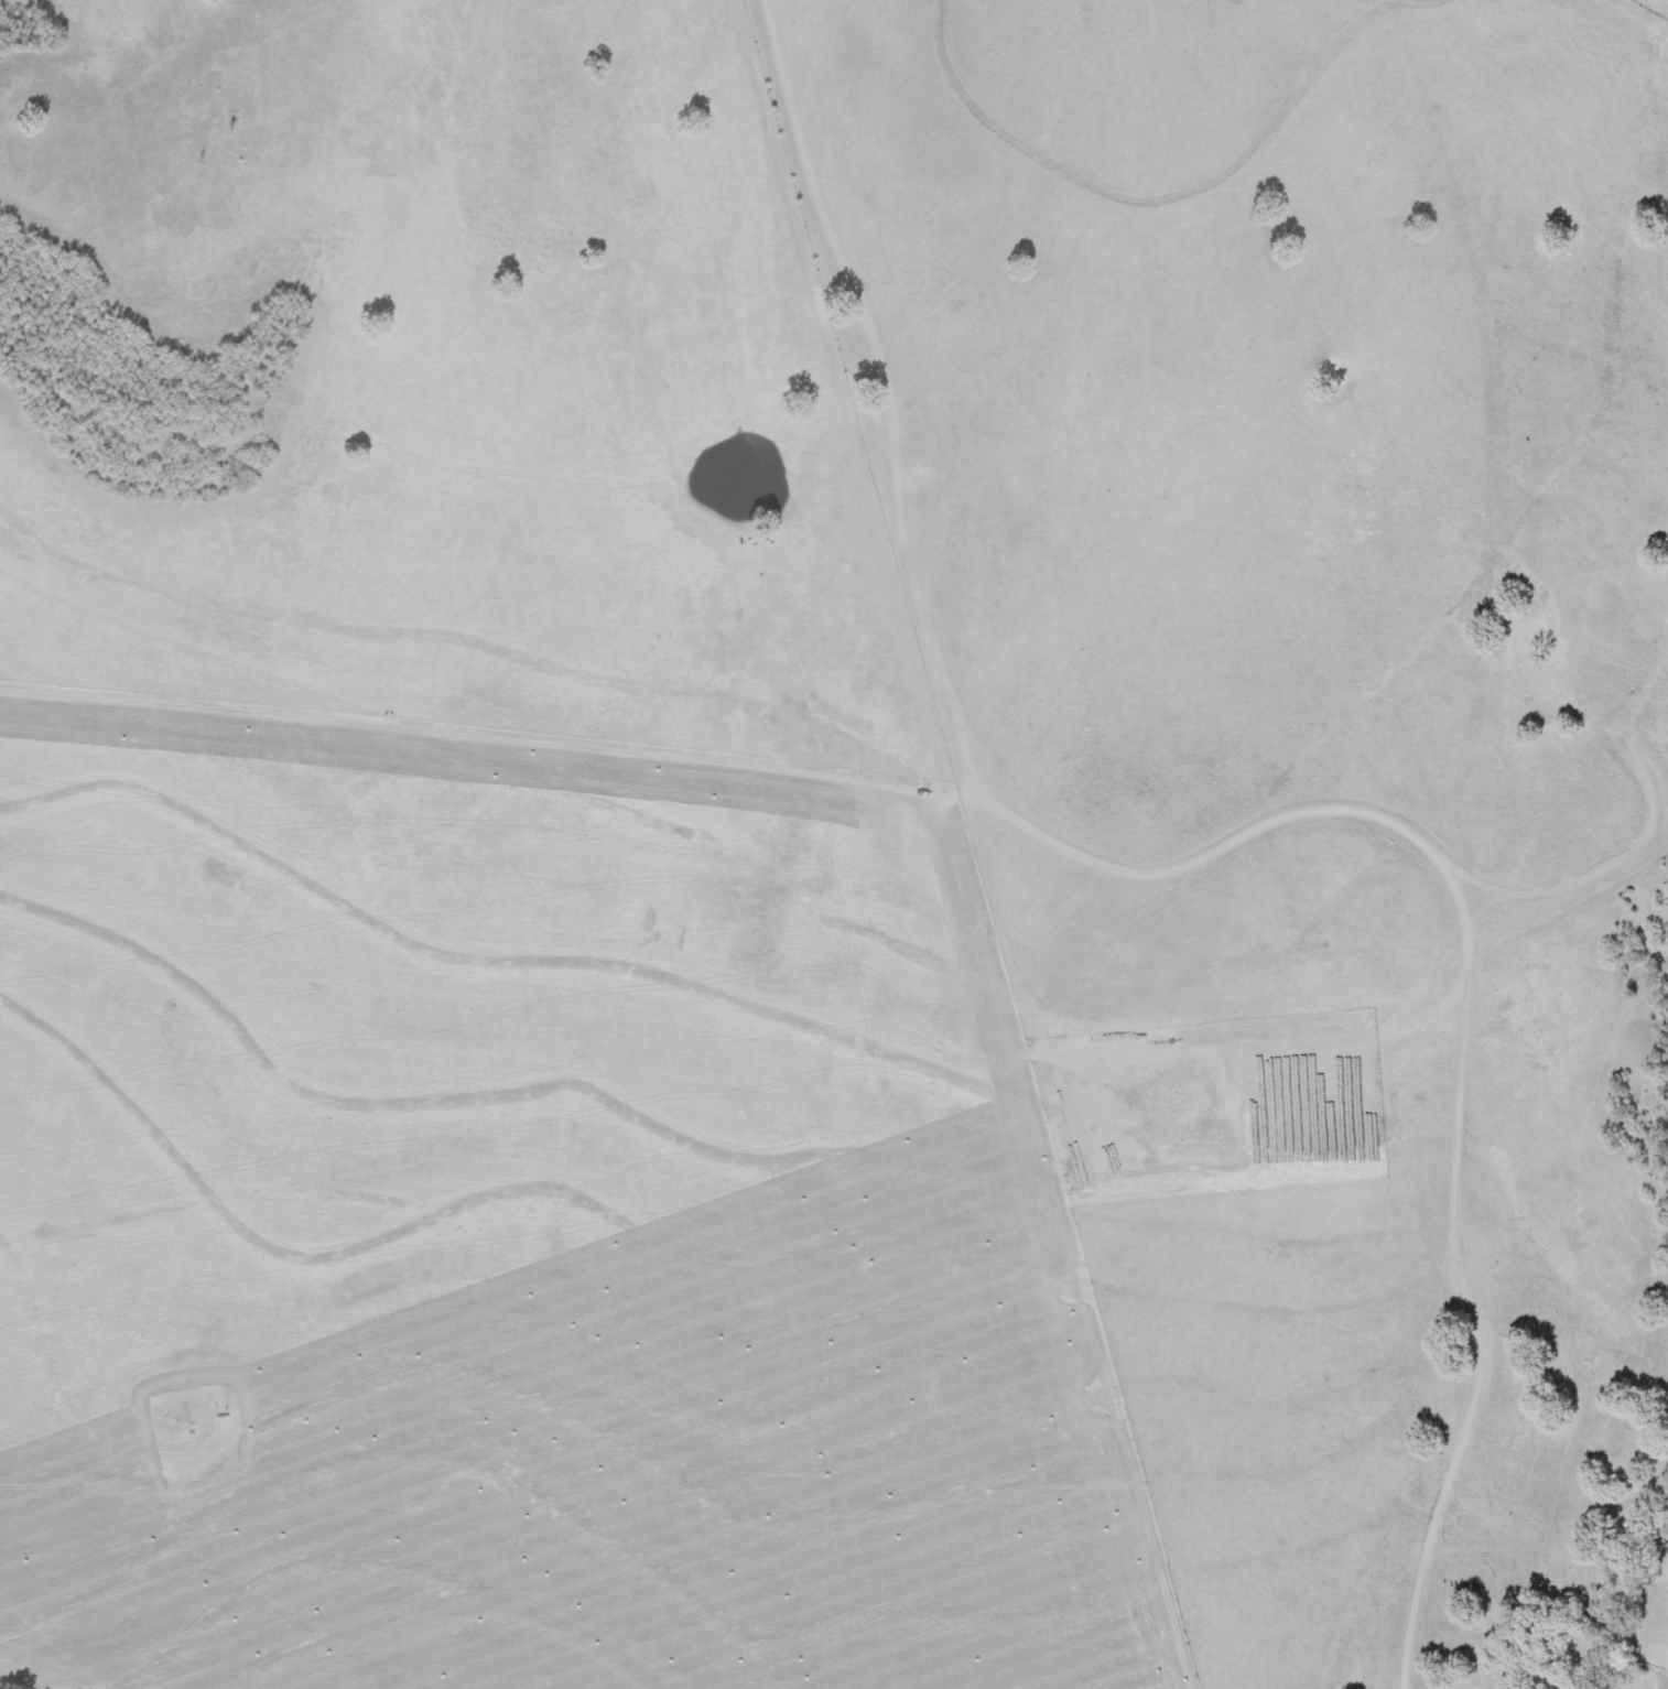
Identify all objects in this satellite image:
road: (913, 372)
road: (494, 733)

